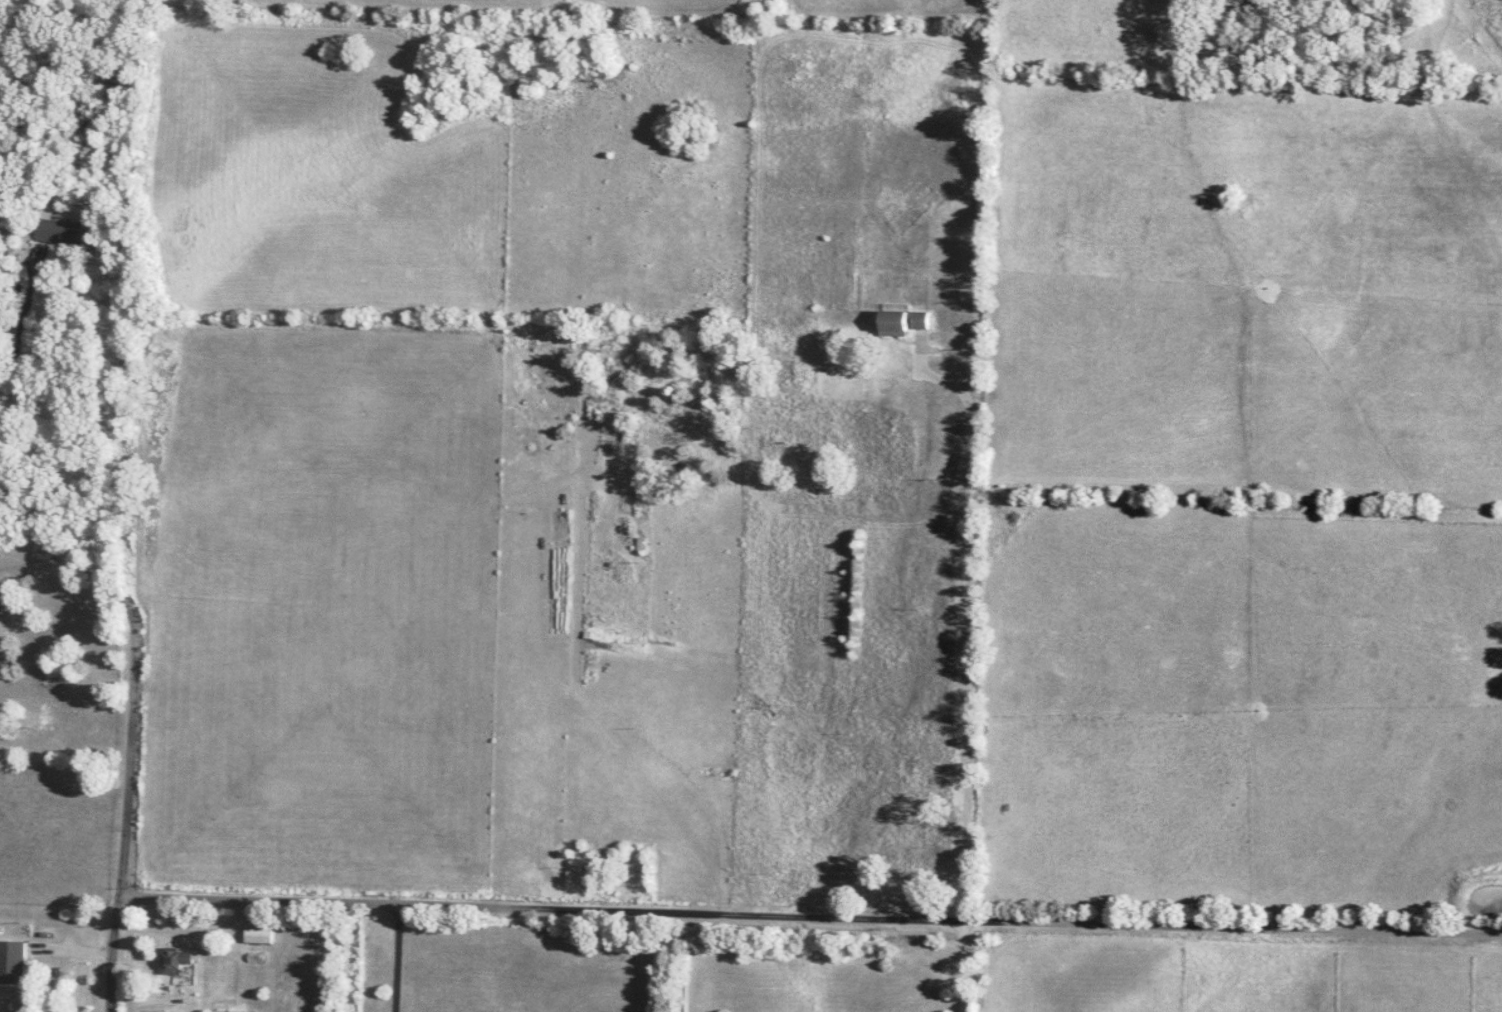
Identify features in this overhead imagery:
building: (64, 231)
building: (131, 324)
building: (902, 324)
road: (21, 364)
building: (127, 366)
building: (934, 618)
road: (967, 623)
road: (133, 717)
building: (915, 759)
building: (861, 761)
building: (911, 864)
road: (812, 920)
building: (260, 936)
building: (177, 959)
road: (399, 960)
building: (12, 962)
road: (962, 969)

